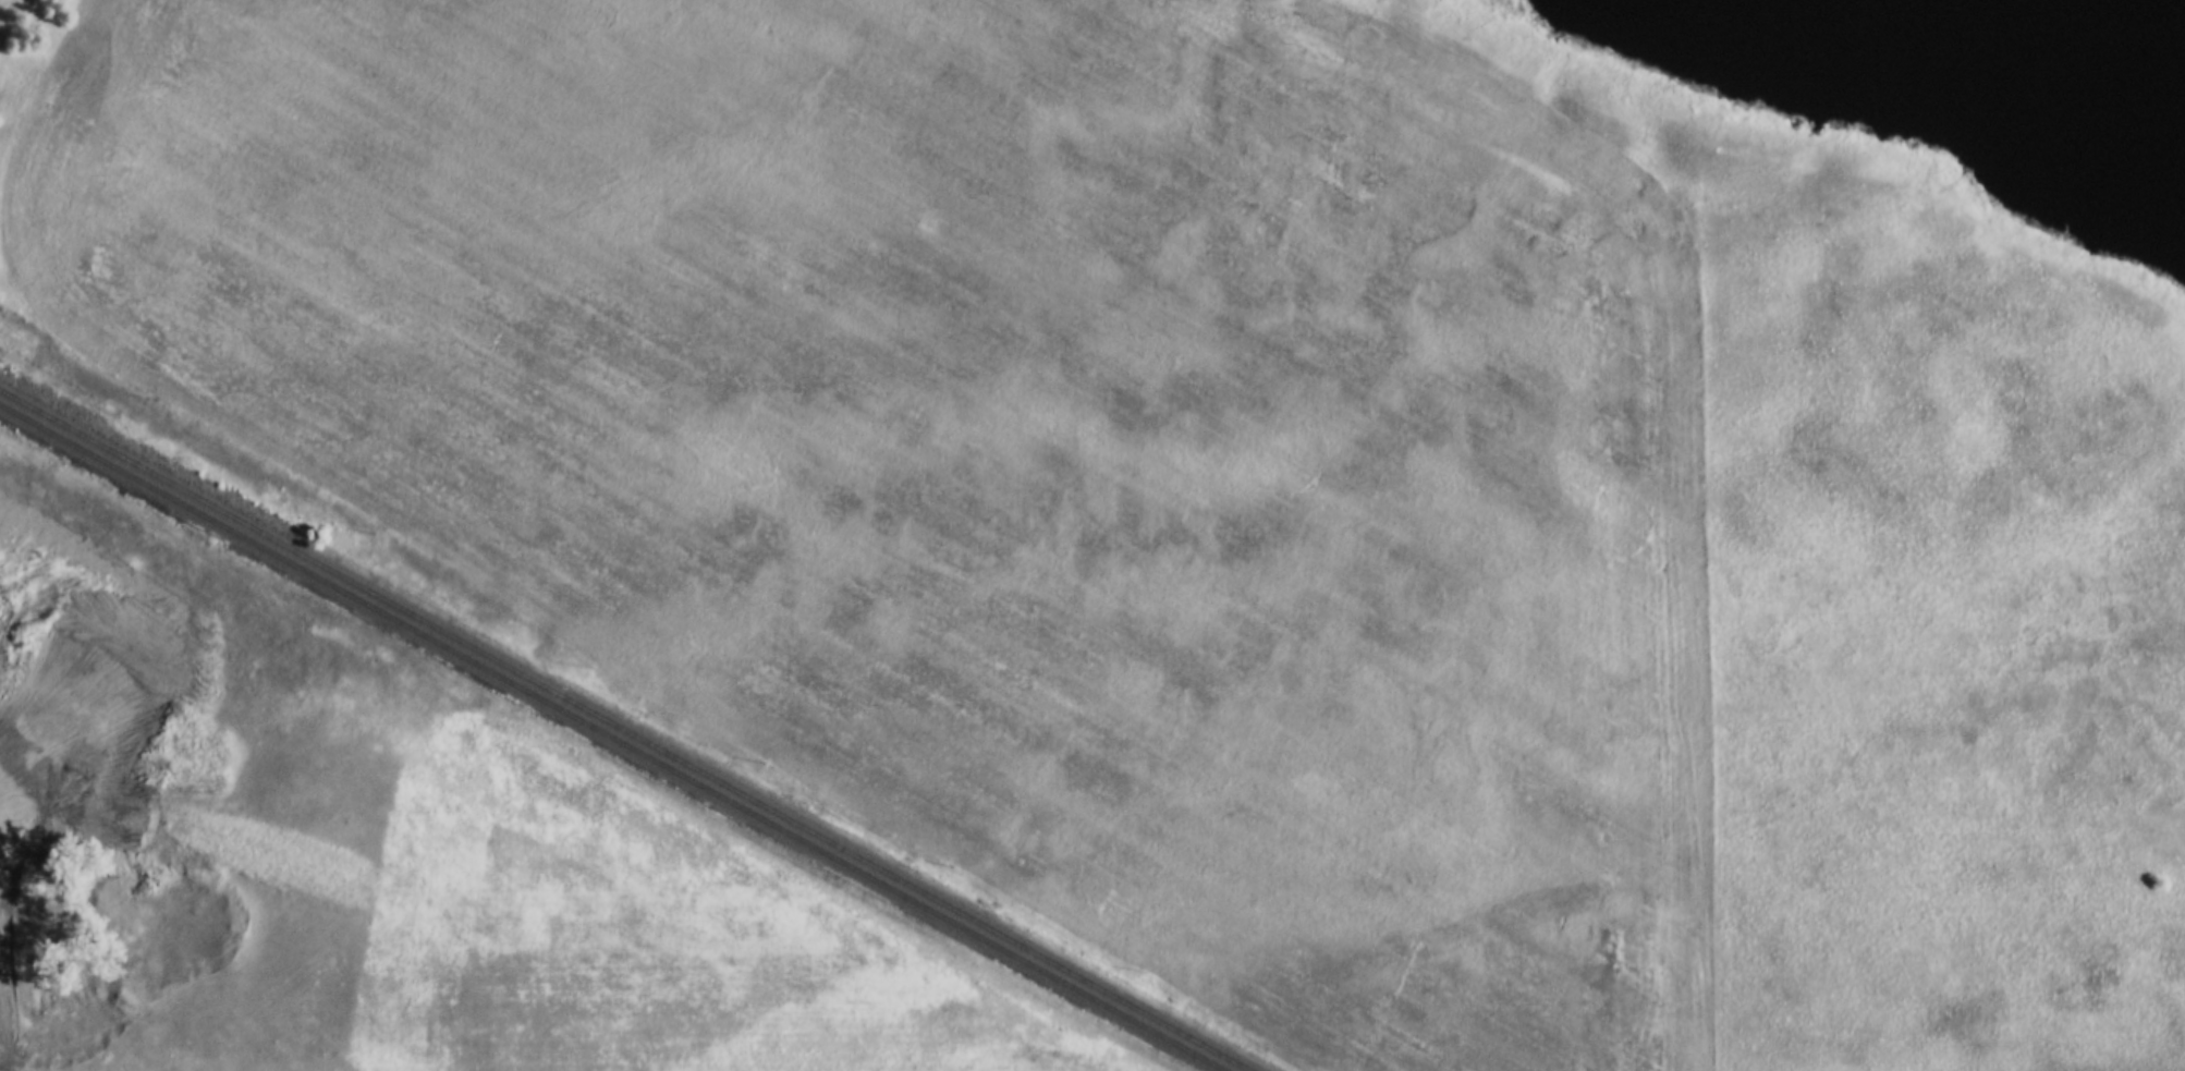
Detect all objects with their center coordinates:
road: (1723, 604)
railway: (623, 731)
railway: (610, 739)

